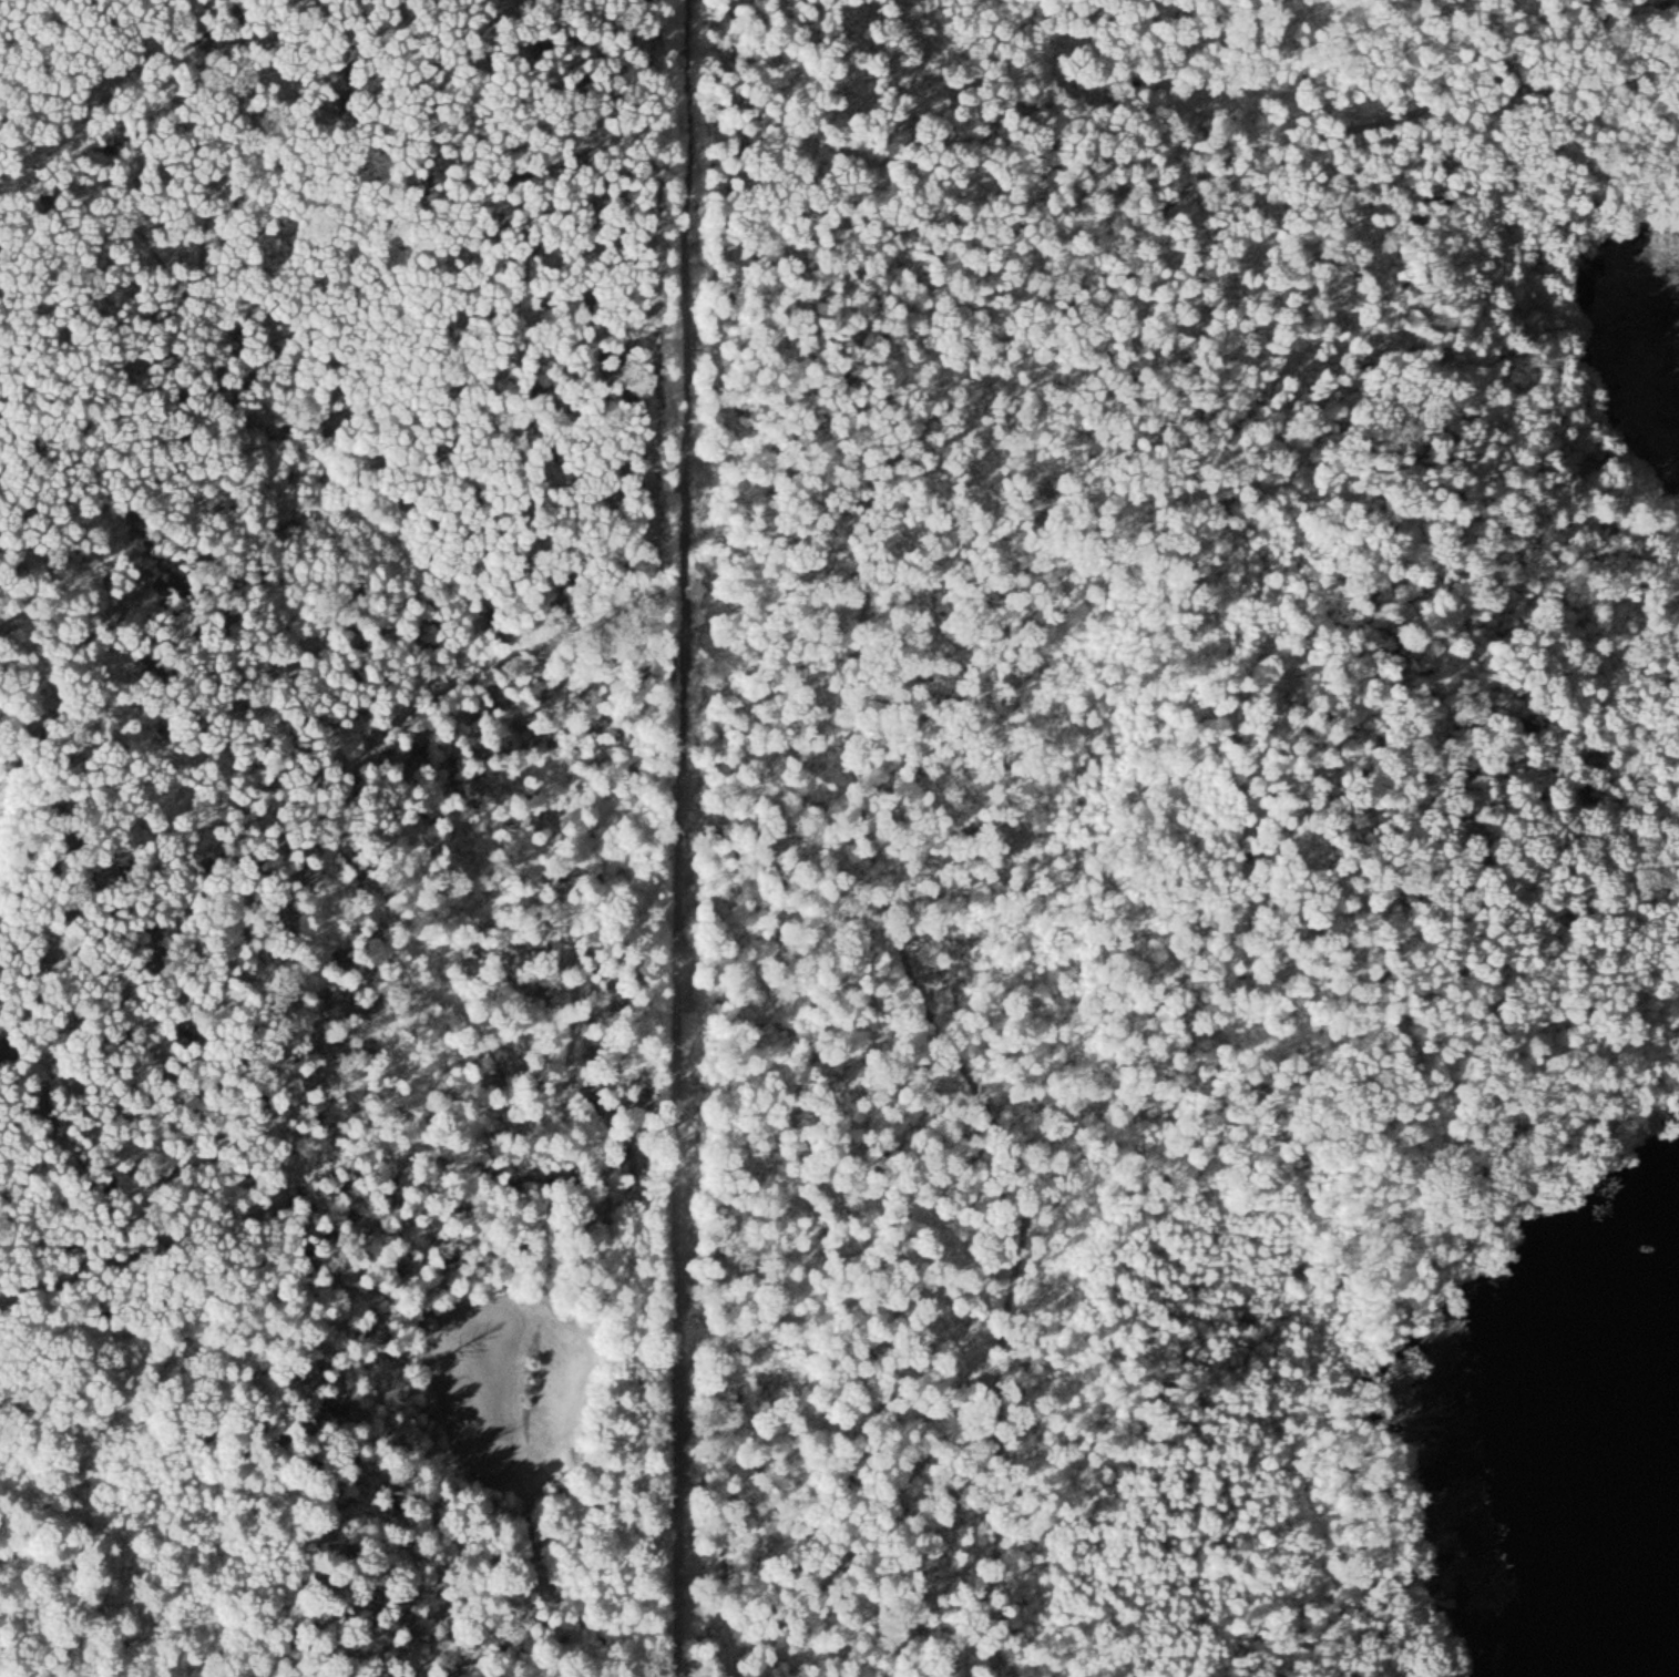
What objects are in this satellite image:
road: (839, 630)
road: (580, 1646)

